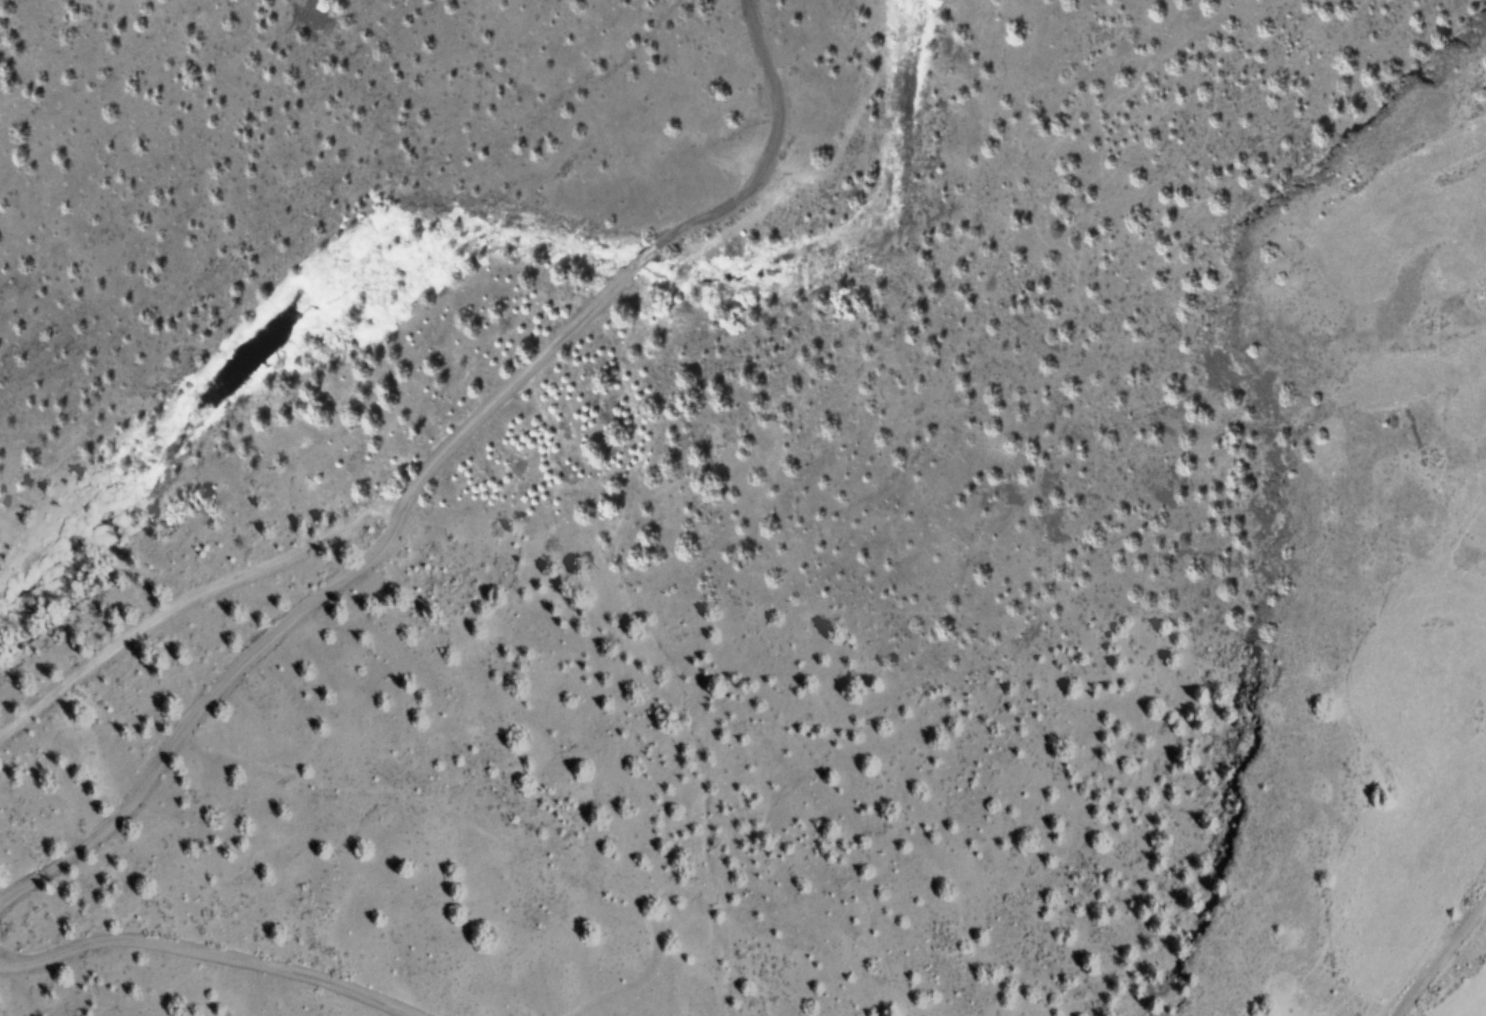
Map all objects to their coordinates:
road: (771, 137)
road: (654, 252)
road: (326, 596)
road: (201, 956)
road: (1441, 960)

